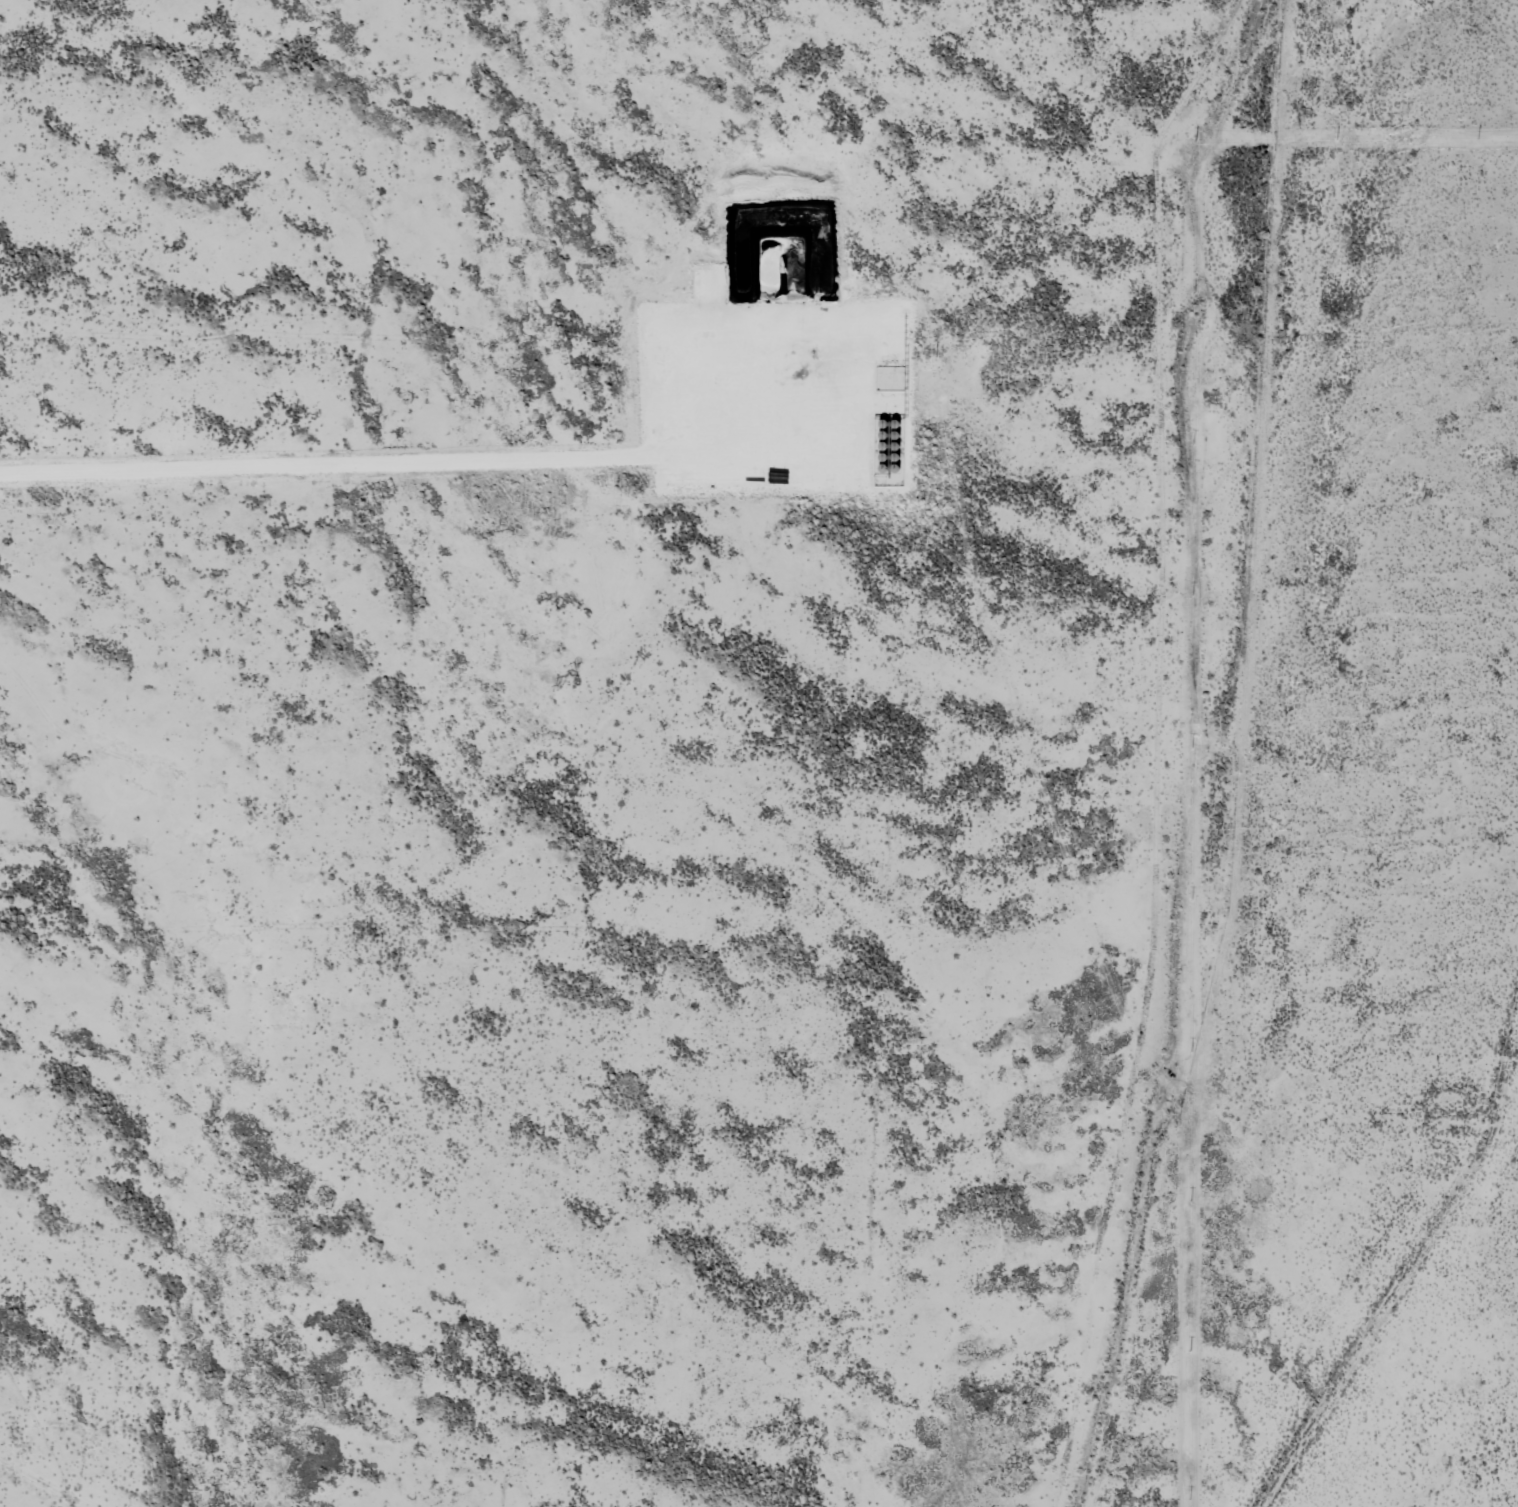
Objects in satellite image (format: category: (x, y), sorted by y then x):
road: (1445, 1309)

